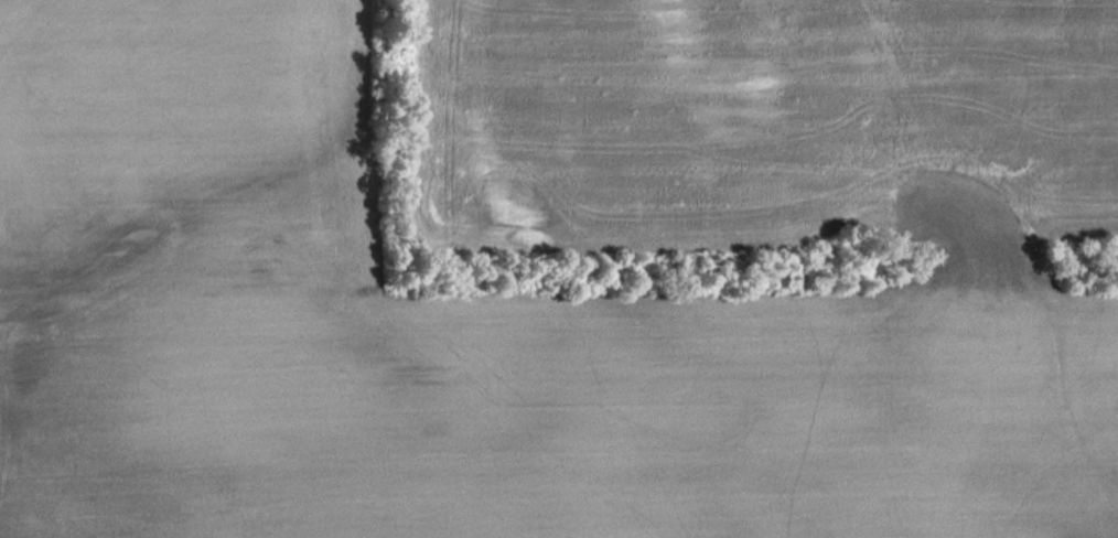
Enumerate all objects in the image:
crop: (774, 115)
crop: (455, 337)

